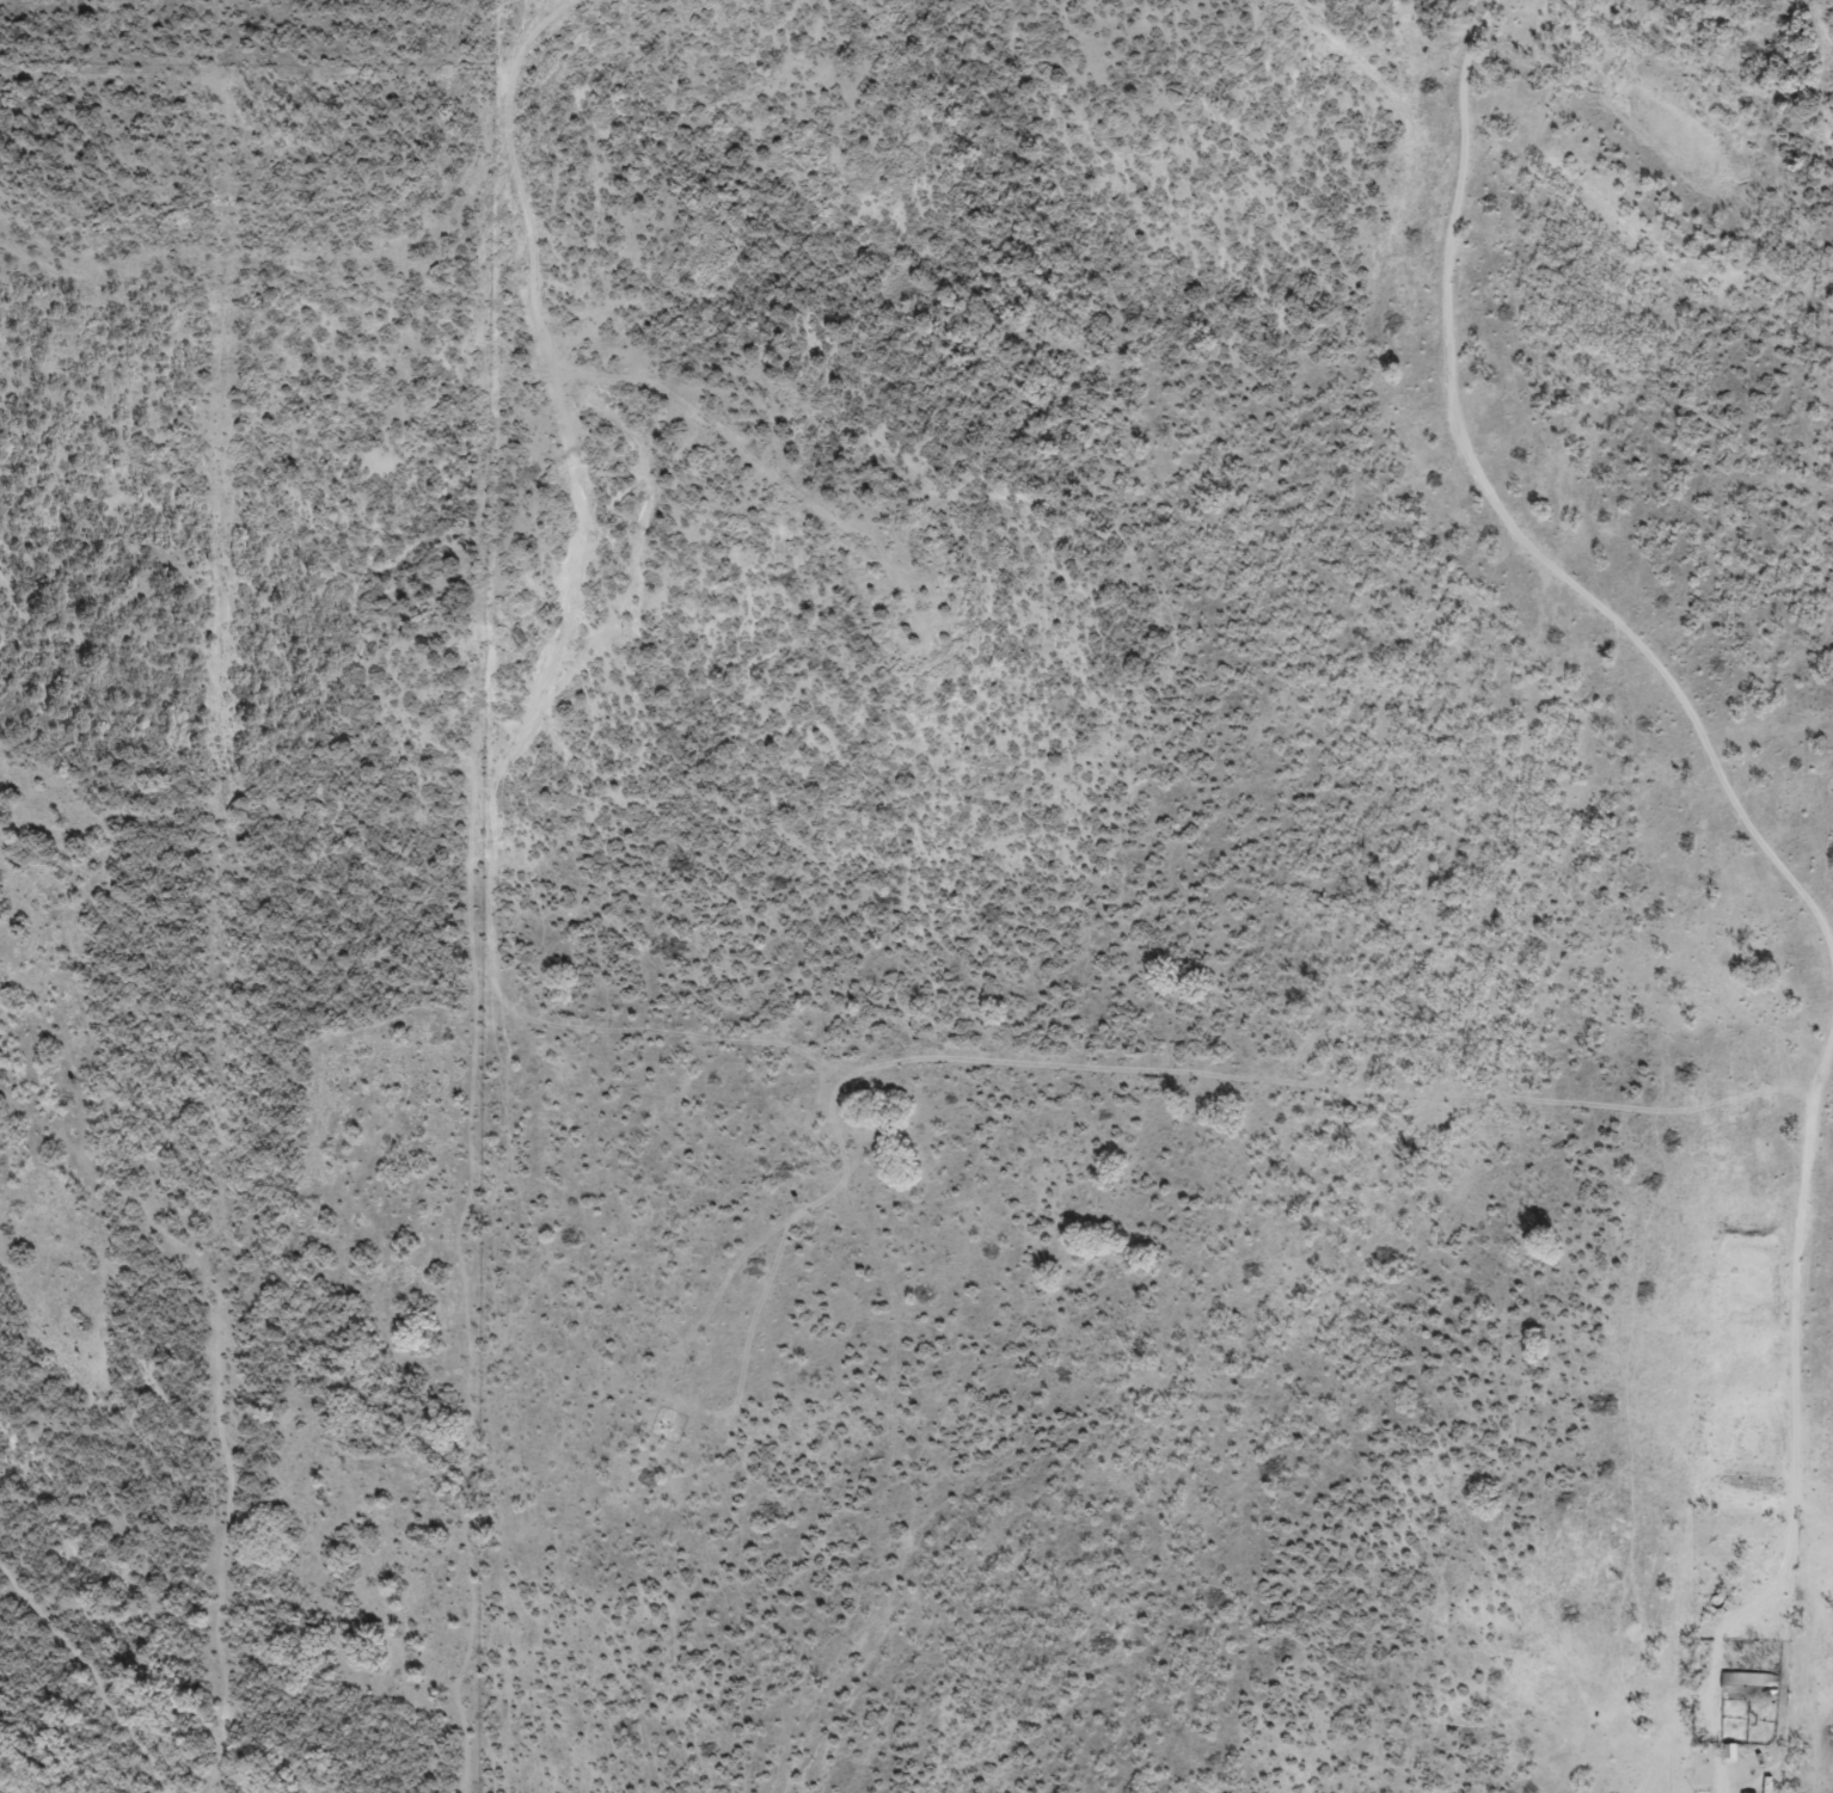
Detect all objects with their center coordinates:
road: (1525, 522)
road: (1792, 1427)
road: (93, 1677)
building: (1749, 1682)

